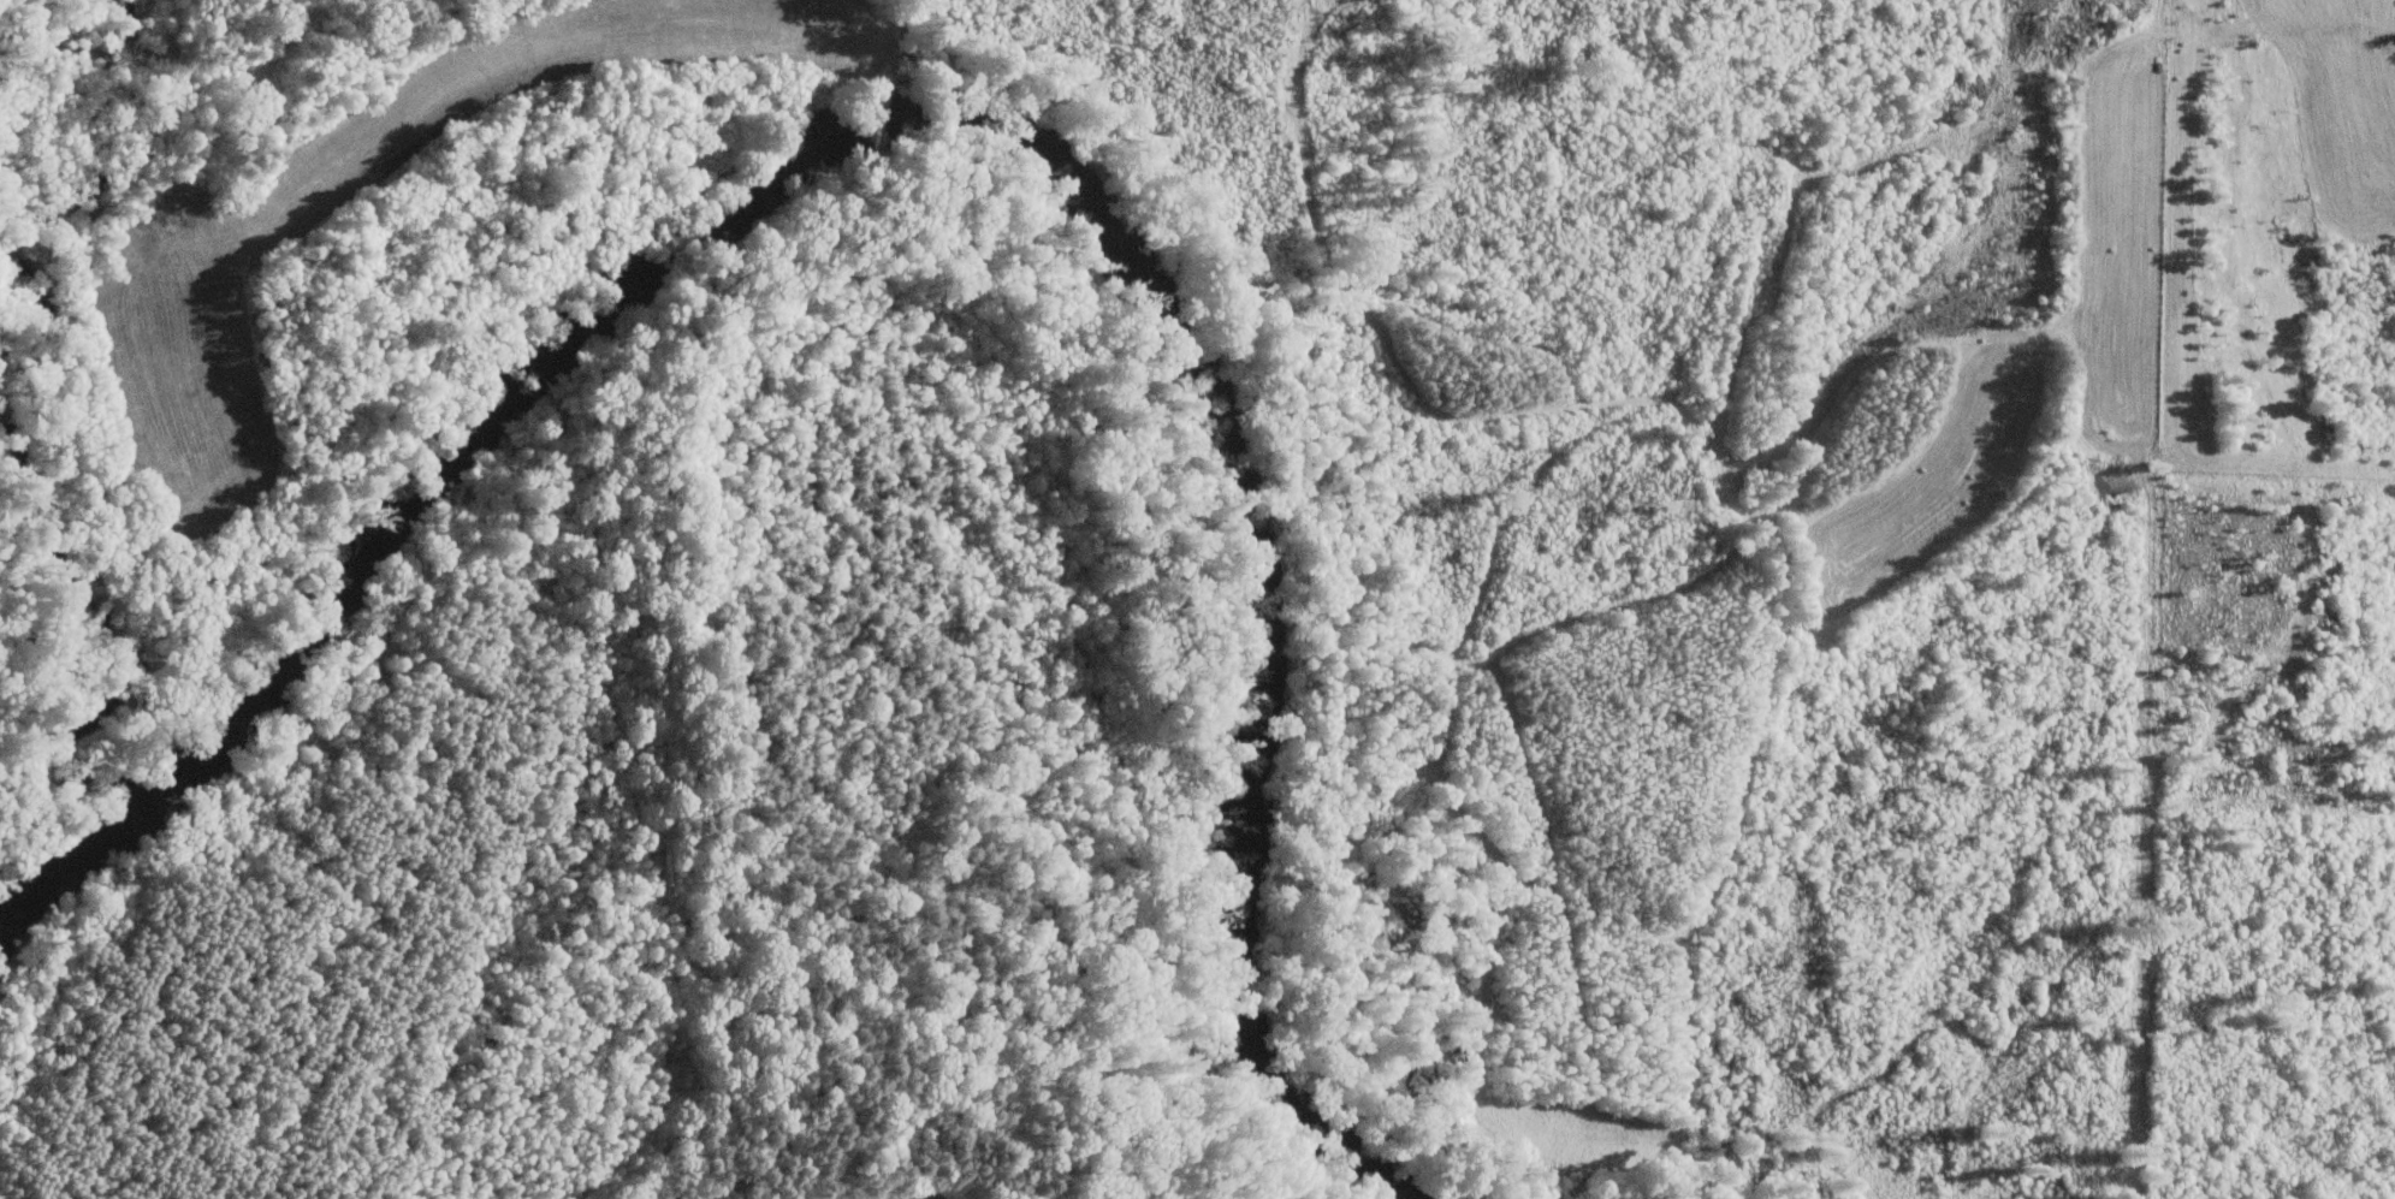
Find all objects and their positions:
river: (609, 317)
river: (1245, 802)
park: (420, 862)
river: (70, 885)
river: (4, 940)

